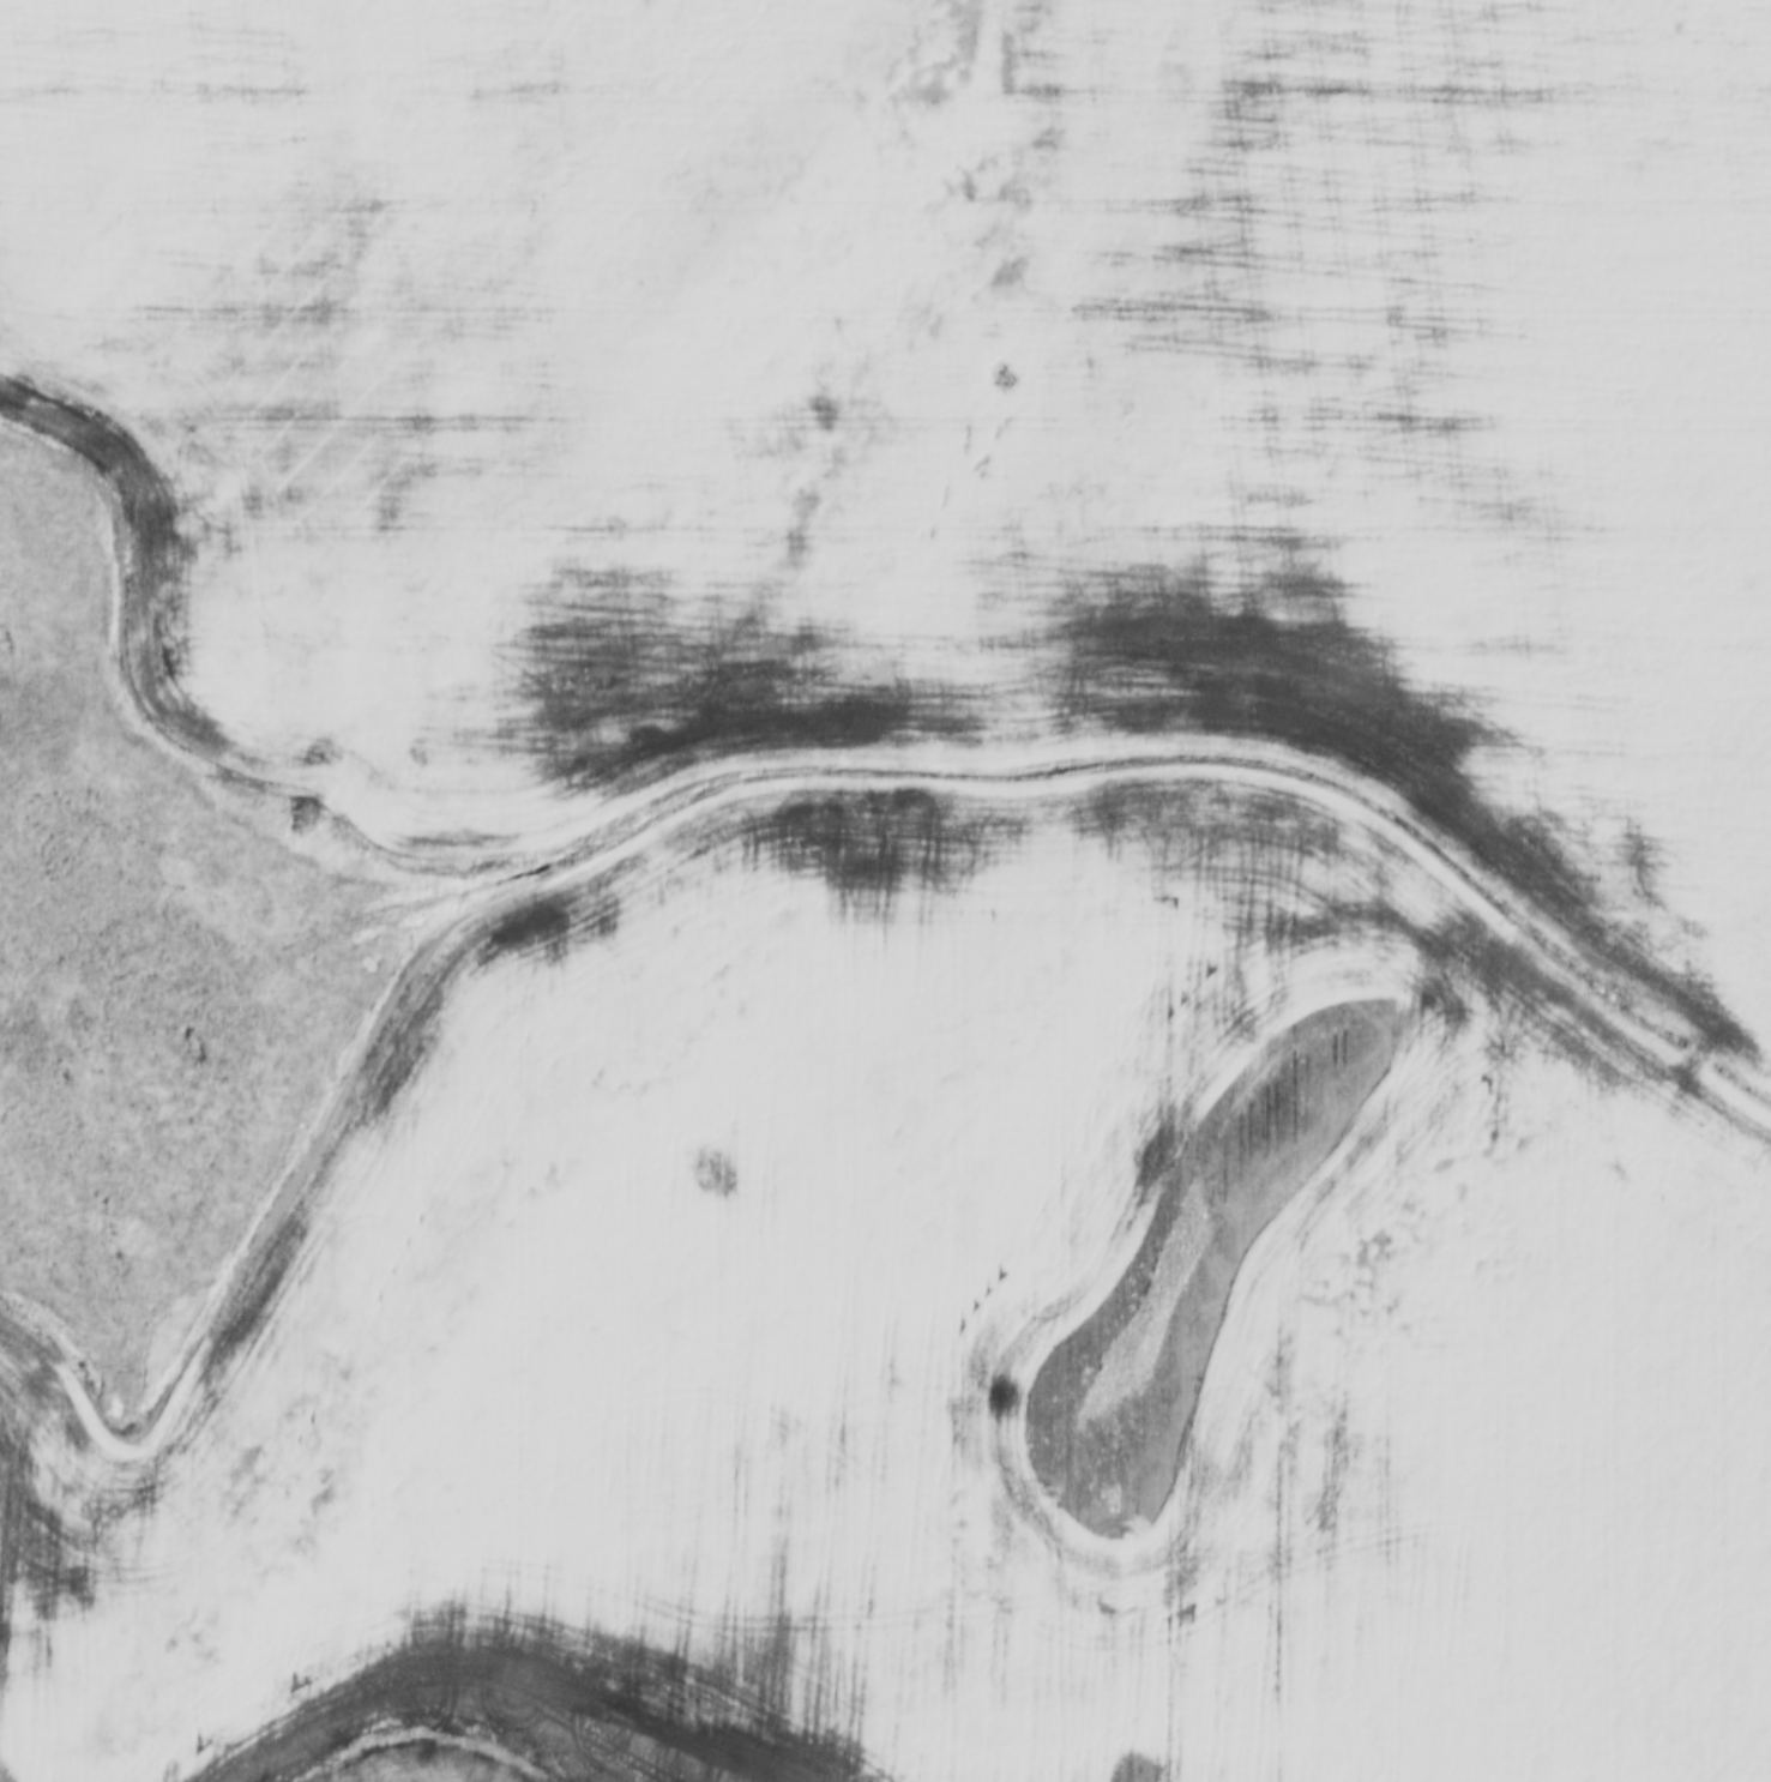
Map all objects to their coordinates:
road: (1727, 1096)

